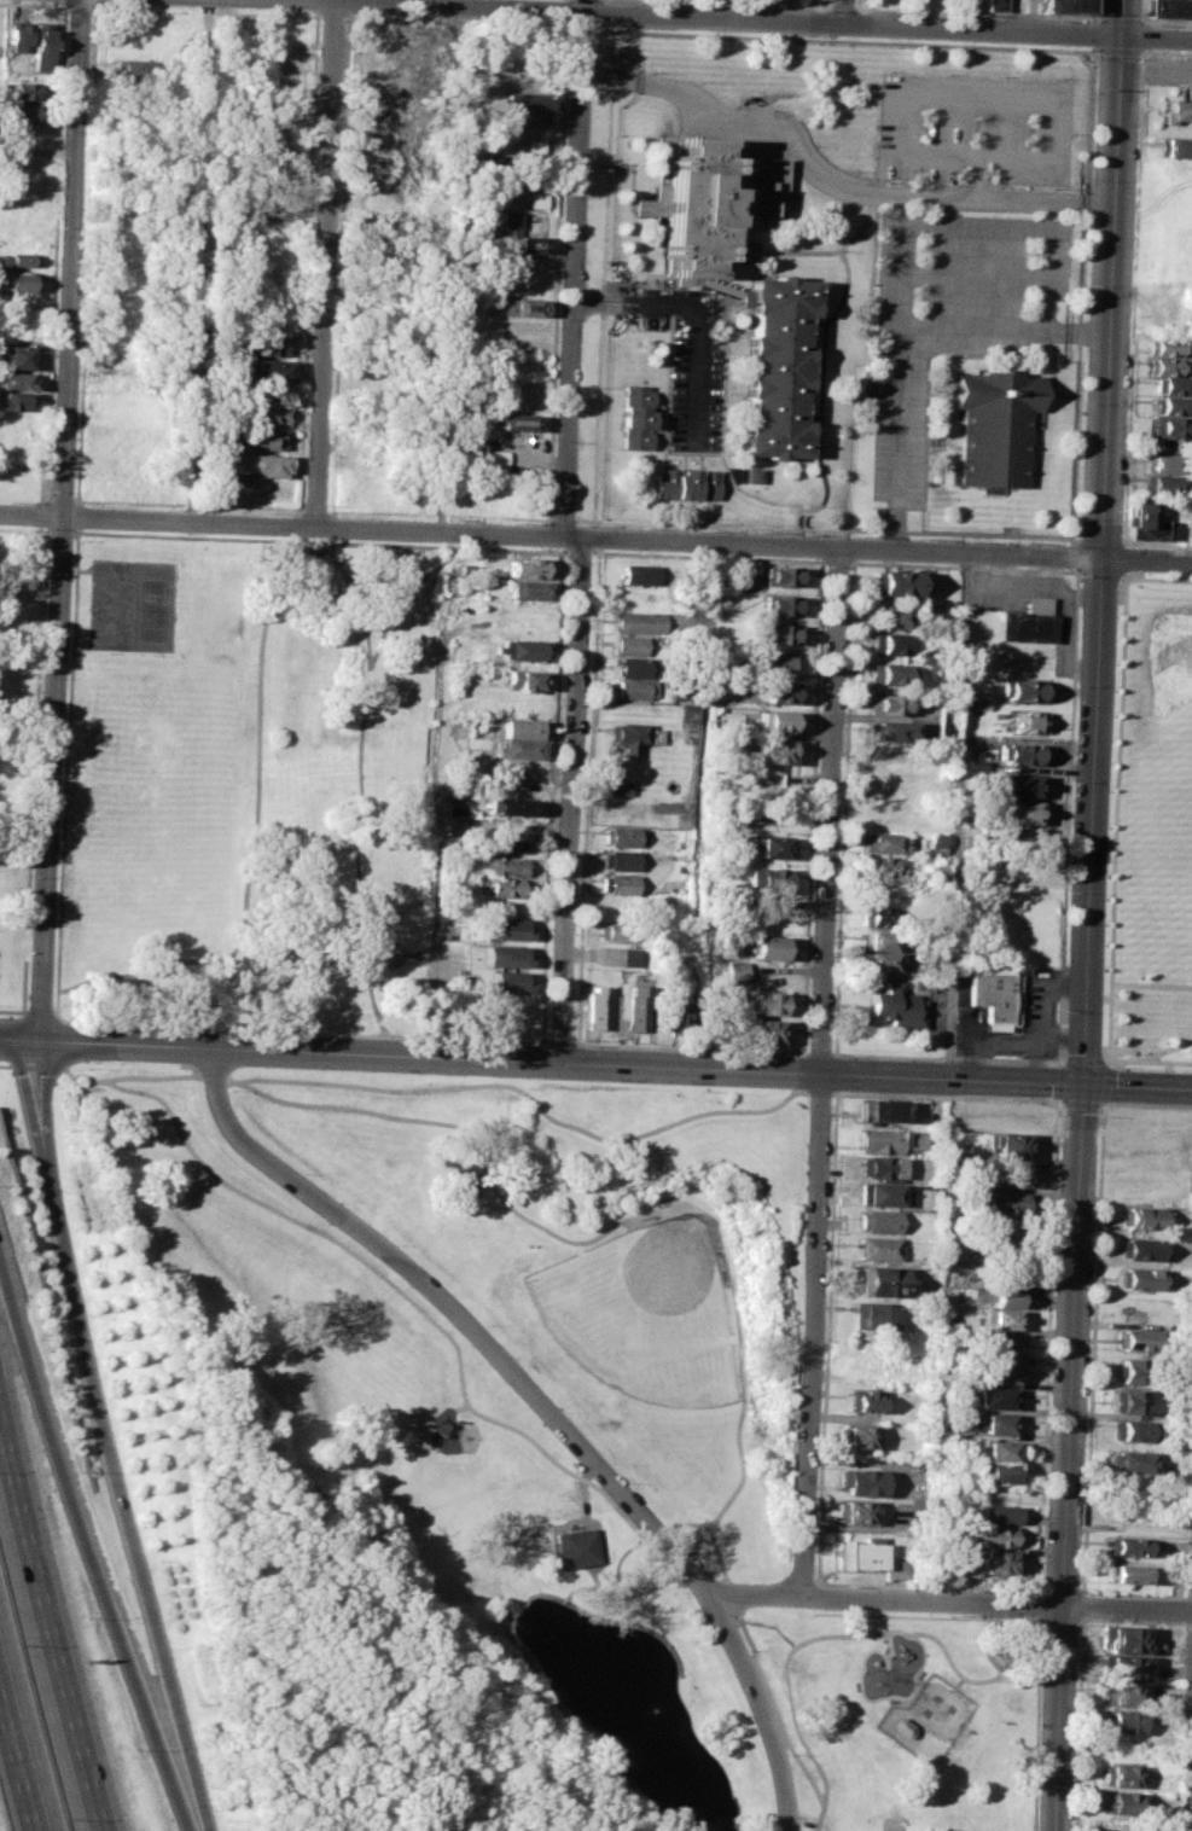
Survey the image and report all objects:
road: (738, 4)
road: (34, 5)
road: (316, 5)
building: (994, 5)
building: (1066, 6)
road: (79, 7)
road: (839, 7)
building: (1170, 7)
road: (1094, 10)
road: (565, 11)
road: (1144, 11)
road: (205, 12)
road: (841, 12)
road: (976, 13)
road: (1121, 17)
road: (719, 18)
road: (1118, 18)
road: (1165, 21)
road: (566, 25)
road: (581, 29)
road: (1093, 33)
road: (1142, 35)
traffic signals: (1121, 36)
road: (1156, 37)
building: (17, 39)
road: (844, 39)
building: (42, 48)
road: (1117, 50)
road: (1165, 51)
building: (136, 68)
building: (24, 89)
road: (996, 97)
building: (530, 101)
building: (1176, 110)
building: (24, 114)
parking lot: (975, 130)
building: (534, 146)
building: (1170, 146)
road: (832, 182)
building: (498, 194)
building: (383, 198)
building: (531, 199)
building: (713, 203)
road: (900, 229)
building: (524, 242)
building: (744, 250)
building: (18, 260)
road: (324, 263)
road: (572, 268)
parking lot: (976, 269)
road: (556, 273)
road: (600, 274)
road: (972, 274)
building: (19, 285)
road: (1132, 297)
road: (635, 302)
building: (524, 306)
road: (970, 327)
building: (256, 345)
building: (1164, 345)
building: (17, 358)
building: (1163, 366)
building: (780, 368)
building: (266, 371)
road: (698, 378)
building: (16, 382)
building: (1171, 385)
building: (266, 394)
building: (13, 401)
building: (1168, 405)
building: (266, 417)
building: (638, 418)
building: (517, 420)
building: (995, 424)
building: (1171, 426)
building: (257, 441)
building: (21, 442)
building: (1163, 463)
building: (258, 465)
building: (754, 475)
building: (1161, 482)
building: (687, 484)
road: (562, 515)
street lamp: (1077, 517)
road: (60, 521)
building: (1149, 524)
road: (279, 527)
road: (1066, 535)
road: (568, 536)
road: (1074, 540)
road: (1100, 540)
road: (452, 545)
road: (1155, 545)
road: (884, 547)
road: (1124, 558)
building: (525, 568)
building: (636, 572)
road: (1129, 574)
building: (780, 575)
street lamp: (1078, 575)
building: (895, 582)
building: (524, 589)
road: (396, 594)
building: (780, 604)
park: (111, 609)
park: (155, 611)
building: (888, 615)
building: (634, 621)
building: (1029, 621)
building: (779, 633)
building: (886, 643)
building: (627, 645)
building: (519, 649)
building: (775, 664)
building: (630, 667)
building: (889, 673)
building: (523, 679)
street lamp: (1075, 685)
building: (633, 688)
building: (1022, 690)
building: (779, 692)
building: (886, 703)
building: (687, 713)
building: (774, 720)
building: (1029, 721)
building: (518, 727)
building: (891, 730)
building: (629, 736)
building: (518, 749)
building: (774, 750)
building: (1021, 752)
park: (237, 773)
street lamp: (1071, 781)
road: (355, 783)
building: (1019, 784)
building: (622, 787)
park: (157, 794)
road: (570, 801)
building: (512, 806)
road: (700, 806)
building: (628, 809)
building: (1024, 810)
road: (958, 816)
road: (1115, 826)
road: (254, 827)
building: (624, 836)
building: (1023, 838)
building: (885, 842)
building: (936, 843)
building: (505, 844)
building: (771, 845)
building: (621, 859)
building: (502, 865)
building: (883, 865)
building: (937, 871)
building: (769, 880)
building: (622, 882)
building: (505, 887)
street lamp: (1068, 894)
building: (879, 915)
building: (510, 928)
building: (617, 931)
road: (1088, 934)
building: (879, 938)
building: (767, 946)
building: (504, 954)
building: (629, 955)
building: (878, 961)
building: (734, 970)
building: (505, 981)
road: (1151, 984)
building: (999, 996)
building: (766, 1002)
building: (635, 1006)
building: (894, 1007)
building: (597, 1008)
building: (675, 1008)
road: (1041, 1011)
road: (41, 1013)
street lamp: (1064, 1015)
street lamp: (133, 1027)
building: (766, 1029)
street lamp: (315, 1034)
street lamp: (548, 1036)
road: (6, 1041)
street lamp: (496, 1041)
road: (1011, 1041)
road: (29, 1042)
street lamp: (583, 1045)
street lamp: (673, 1048)
road: (1164, 1050)
street lamp: (761, 1052)
street lamp: (838, 1056)
road: (1110, 1056)
street lamp: (941, 1058)
road: (105, 1059)
road: (1080, 1060)
road: (618, 1065)
street lamp: (1054, 1065)
street lamp: (1126, 1065)
street lamp: (88, 1066)
road: (827, 1071)
road: (504, 1075)
road: (1058, 1081)
road: (833, 1082)
road: (1104, 1082)
street lamp: (226, 1088)
road: (522, 1092)
road: (29, 1093)
road: (1057, 1101)
road: (1078, 1103)
road: (1100, 1104)
street lamp: (831, 1108)
building: (882, 1110)
building: (912, 1138)
building: (878, 1139)
building: (1013, 1144)
building: (879, 1164)
street lamp: (304, 1173)
building: (1012, 1173)
building: (879, 1192)
building: (1007, 1202)
building: (1144, 1217)
building: (877, 1219)
street lamp: (1094, 1227)
street lamp: (826, 1231)
building: (1005, 1242)
street lamp: (397, 1243)
building: (877, 1246)
building: (1144, 1248)
building: (949, 1254)
building: (1142, 1278)
building: (880, 1279)
building: (1005, 1296)
park: (641, 1313)
building: (871, 1313)
building: (1005, 1318)
street lamp: (485, 1324)
building: (1140, 1338)
street lamp: (821, 1341)
building: (1002, 1345)
street lamp: (1089, 1345)
road: (1091, 1355)
building: (1132, 1368)
building: (1001, 1371)
building: (996, 1396)
building: (864, 1399)
building: (1132, 1400)
road: (543, 1406)
street lamp: (563, 1411)
building: (998, 1422)
building: (1132, 1429)
building: (856, 1435)
road: (117, 1438)
park: (494, 1447)
building: (998, 1449)
street lamp: (1085, 1459)
building: (1134, 1459)
street lamp: (816, 1467)
building: (1000, 1471)
street lamp: (628, 1481)
building: (859, 1481)
building: (853, 1510)
building: (995, 1512)
road: (570, 1519)
road: (686, 1523)
building: (995, 1535)
building: (577, 1546)
building: (1132, 1546)
building: (857, 1553)
street lamp: (694, 1557)
building: (999, 1560)
road: (109, 1562)
building: (896, 1568)
road: (721, 1569)
building: (1127, 1571)
street lamp: (812, 1574)
street lamp: (752, 1581)
road: (1037, 1582)
street lamp: (1080, 1582)
street lamp: (851, 1585)
road: (1037, 1588)
road: (808, 1589)
road: (756, 1599)
road: (929, 1600)
road: (1037, 1603)
road: (1127, 1608)
road: (53, 1614)
road: (1039, 1618)
road: (920, 1633)
road: (1000, 1638)
building: (1127, 1638)
fountain: (1004, 1647)
street lamp: (748, 1650)
road: (1037, 1650)
road: (1012, 1657)
building: (1126, 1666)
road: (1078, 1669)
street lamp: (1077, 1672)
building: (1123, 1693)
road: (868, 1699)
road: (785, 1704)
building: (1123, 1720)
road: (19, 1750)
street lamp: (784, 1752)
road: (1033, 1754)
road: (796, 1769)
road: (1190, 1773)
building: (1118, 1774)
building: (1117, 1801)

